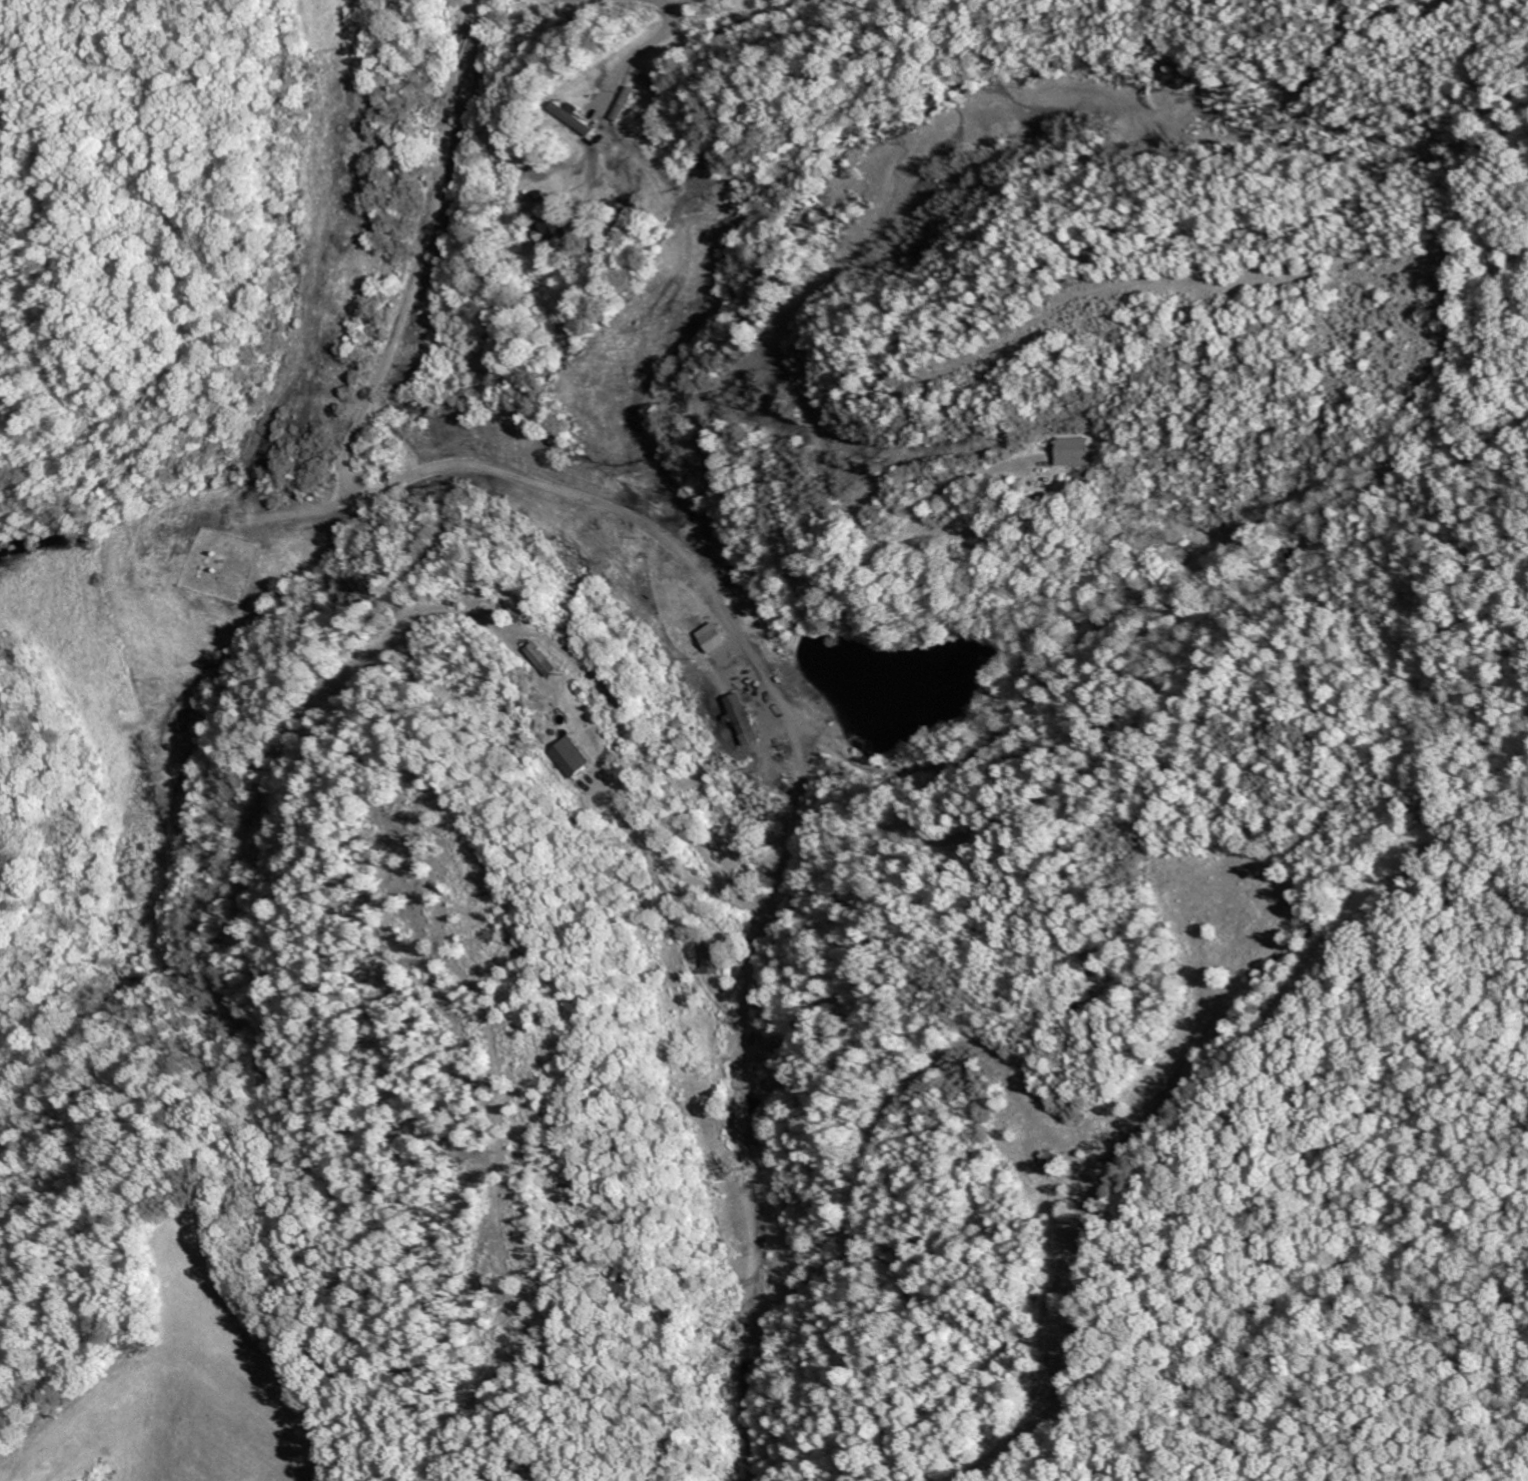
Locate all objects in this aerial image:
road: (650, 45)
building: (580, 118)
building: (558, 230)
building: (1073, 451)
building: (715, 637)
building: (540, 659)
building: (743, 718)
building: (567, 757)
building: (710, 957)

